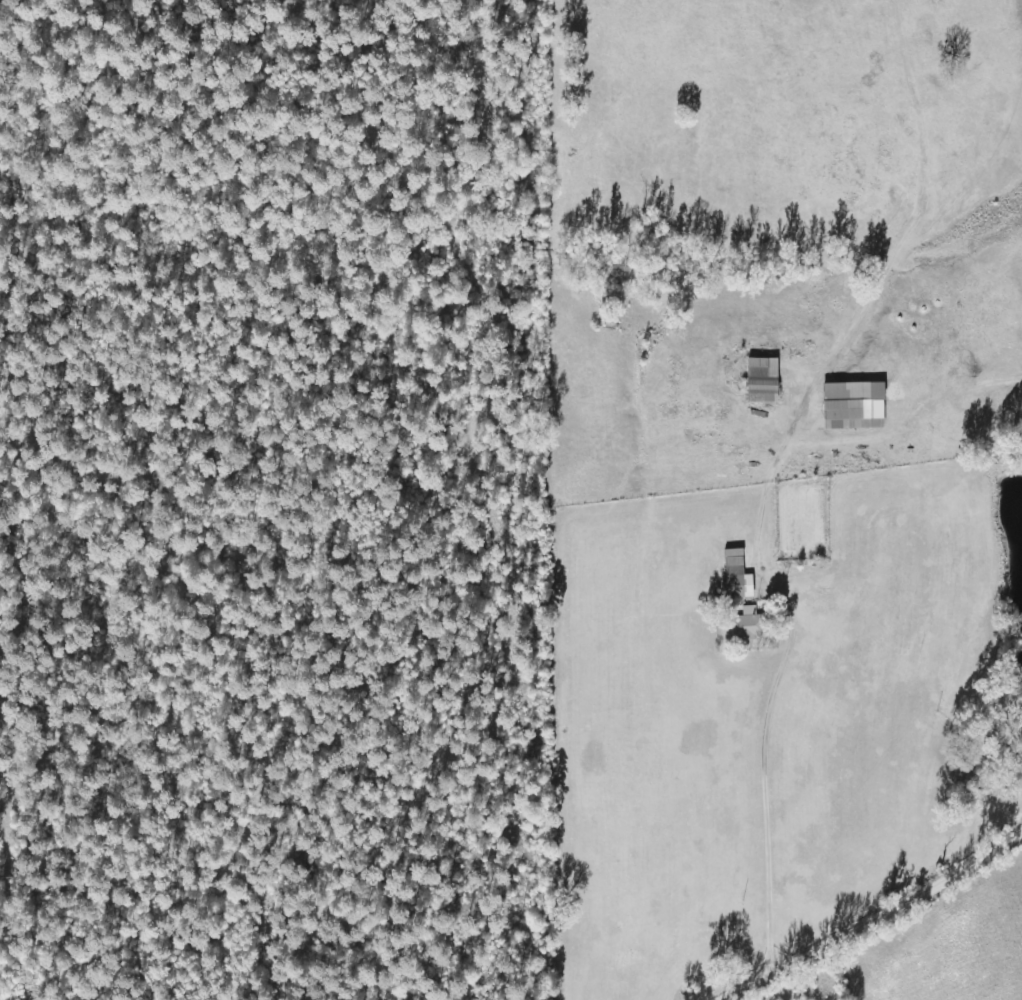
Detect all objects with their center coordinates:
building: (768, 378)
building: (859, 406)
building: (739, 557)
building: (744, 583)
building: (751, 626)
road: (892, 922)

